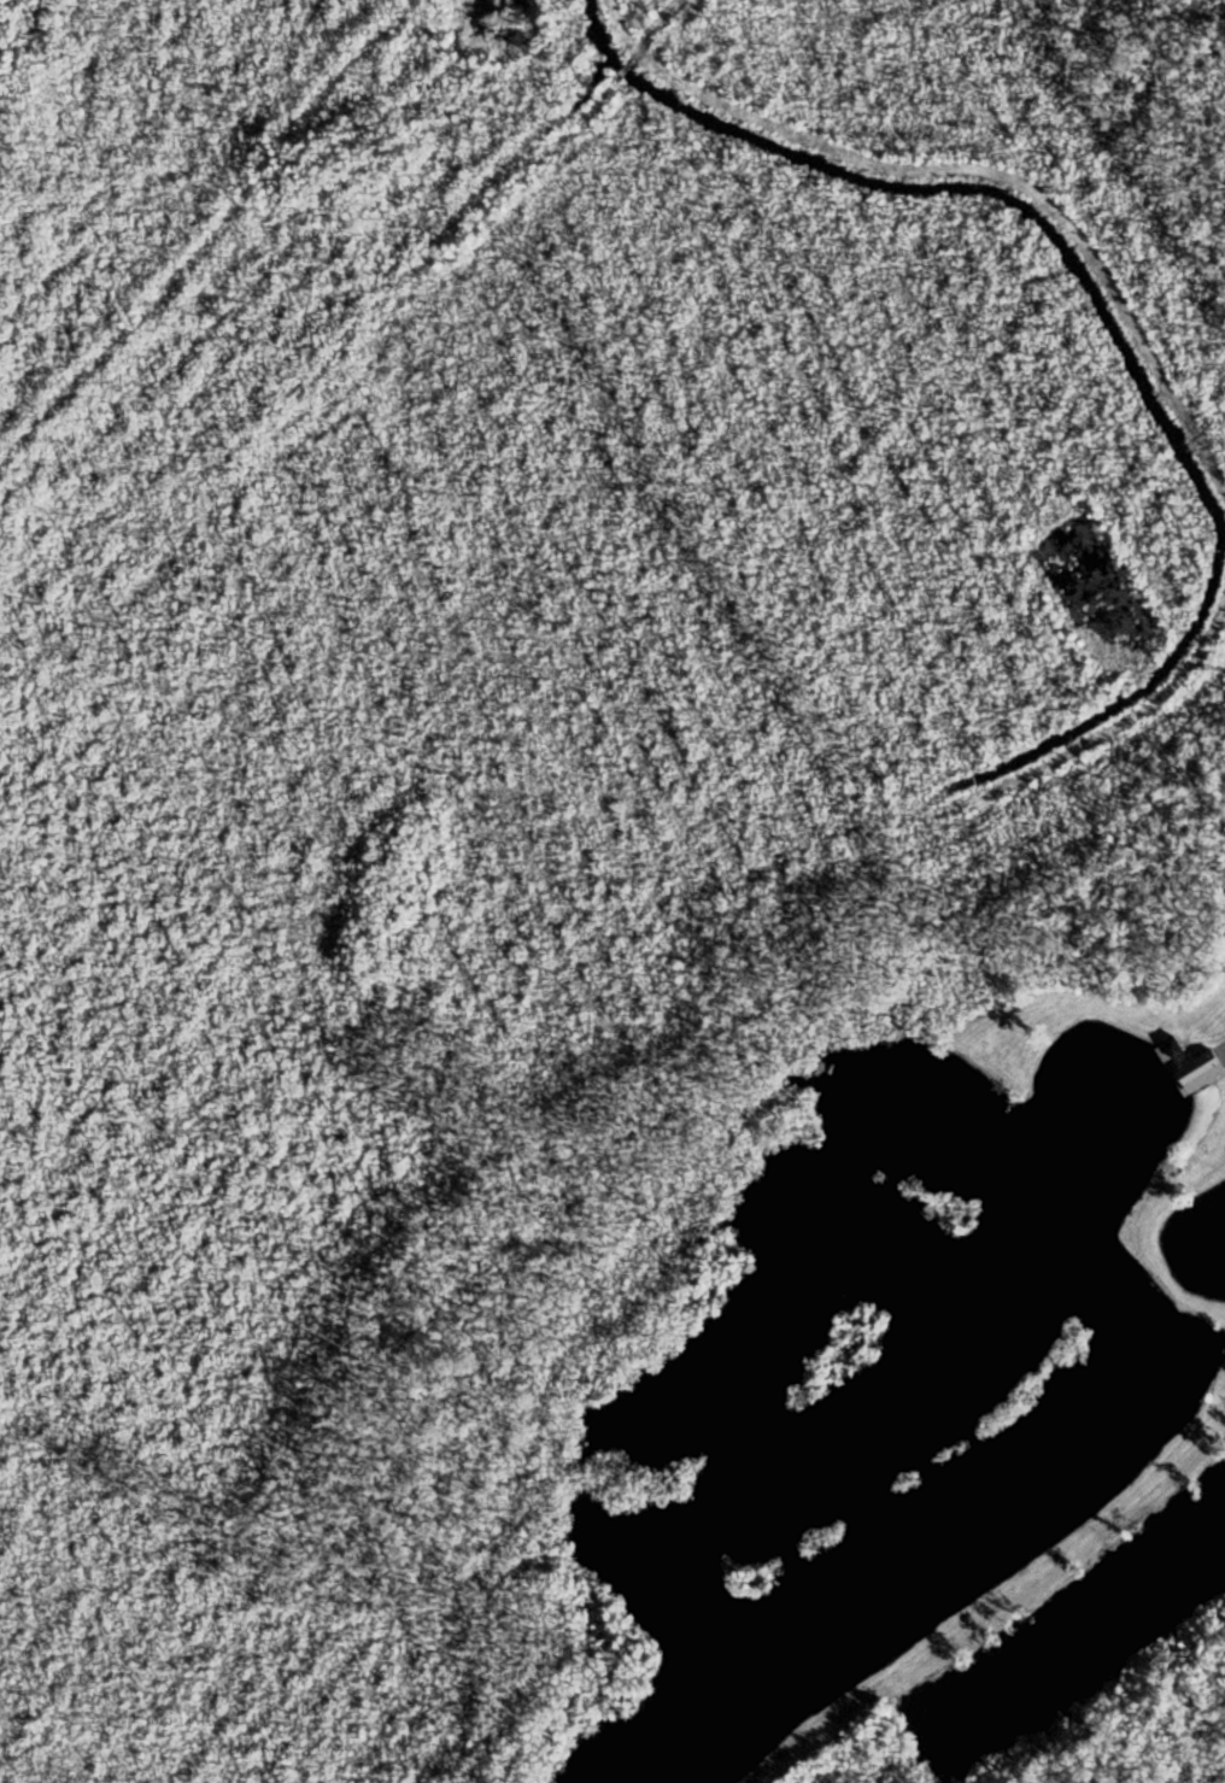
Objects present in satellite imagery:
building: (1189, 1067)

